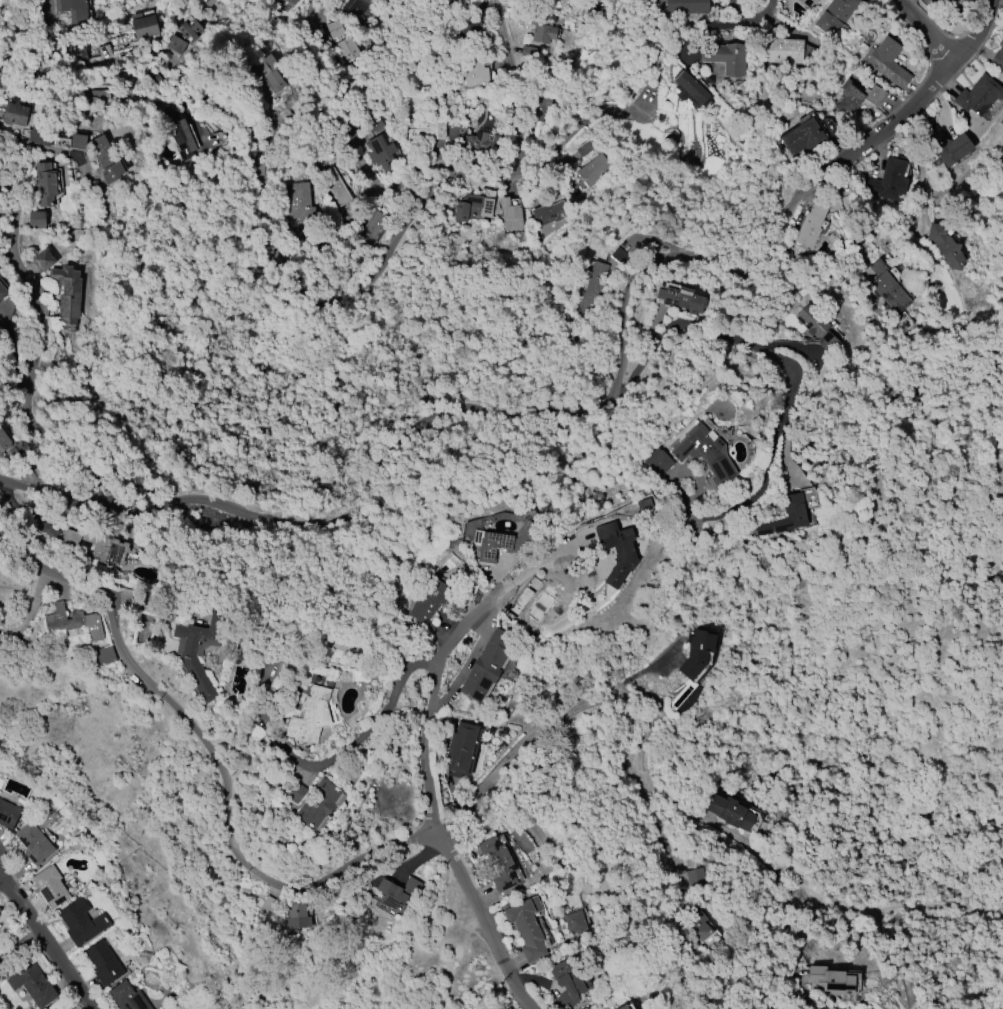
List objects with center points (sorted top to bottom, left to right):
building: (293, 2)
building: (806, 3)
building: (952, 4)
building: (282, 6)
building: (687, 7)
building: (359, 9)
building: (73, 10)
building: (836, 17)
building: (143, 26)
road: (930, 28)
building: (543, 34)
building: (183, 36)
road: (47, 38)
building: (783, 51)
building: (529, 52)
building: (998, 57)
building: (726, 58)
building: (888, 63)
building: (266, 73)
building: (473, 76)
road: (515, 84)
building: (691, 91)
building: (856, 96)
building: (978, 96)
building: (538, 108)
building: (14, 115)
building: (376, 128)
building: (426, 129)
building: (178, 131)
building: (40, 133)
building: (453, 134)
building: (803, 137)
building: (78, 142)
building: (482, 145)
building: (946, 146)
building: (584, 149)
building: (379, 153)
road: (557, 157)
building: (106, 159)
road: (364, 167)
building: (594, 170)
road: (252, 172)
building: (889, 181)
building: (46, 185)
building: (335, 186)
building: (298, 203)
building: (471, 208)
building: (550, 213)
building: (510, 215)
building: (36, 219)
building: (810, 226)
building: (373, 228)
building: (945, 246)
building: (618, 256)
building: (44, 260)
building: (888, 289)
building: (590, 291)
building: (3, 292)
building: (67, 294)
building: (684, 299)
building: (816, 327)
road: (713, 329)
road: (37, 355)
road: (586, 414)
building: (4, 442)
building: (705, 453)
building: (657, 462)
building: (644, 505)
building: (794, 507)
road: (736, 508)
building: (70, 538)
building: (501, 543)
building: (110, 551)
building: (617, 551)
building: (427, 604)
building: (72, 622)
building: (697, 653)
building: (198, 654)
building: (105, 656)
building: (486, 667)
road: (646, 693)
building: (685, 697)
road: (437, 703)
building: (312, 709)
road: (379, 716)
building: (461, 747)
road: (217, 754)
building: (295, 793)
building: (319, 804)
building: (730, 812)
building: (8, 814)
road: (1, 829)
building: (34, 843)
building: (499, 863)
road: (17, 873)
building: (695, 877)
building: (50, 887)
building: (397, 892)
building: (0, 908)
building: (296, 917)
building: (81, 922)
building: (575, 923)
road: (487, 926)
building: (700, 927)
building: (526, 931)
road: (46, 943)
road: (19, 945)
building: (103, 962)
building: (830, 981)
building: (567, 983)
building: (32, 985)
building: (127, 997)
building: (623, 1007)

